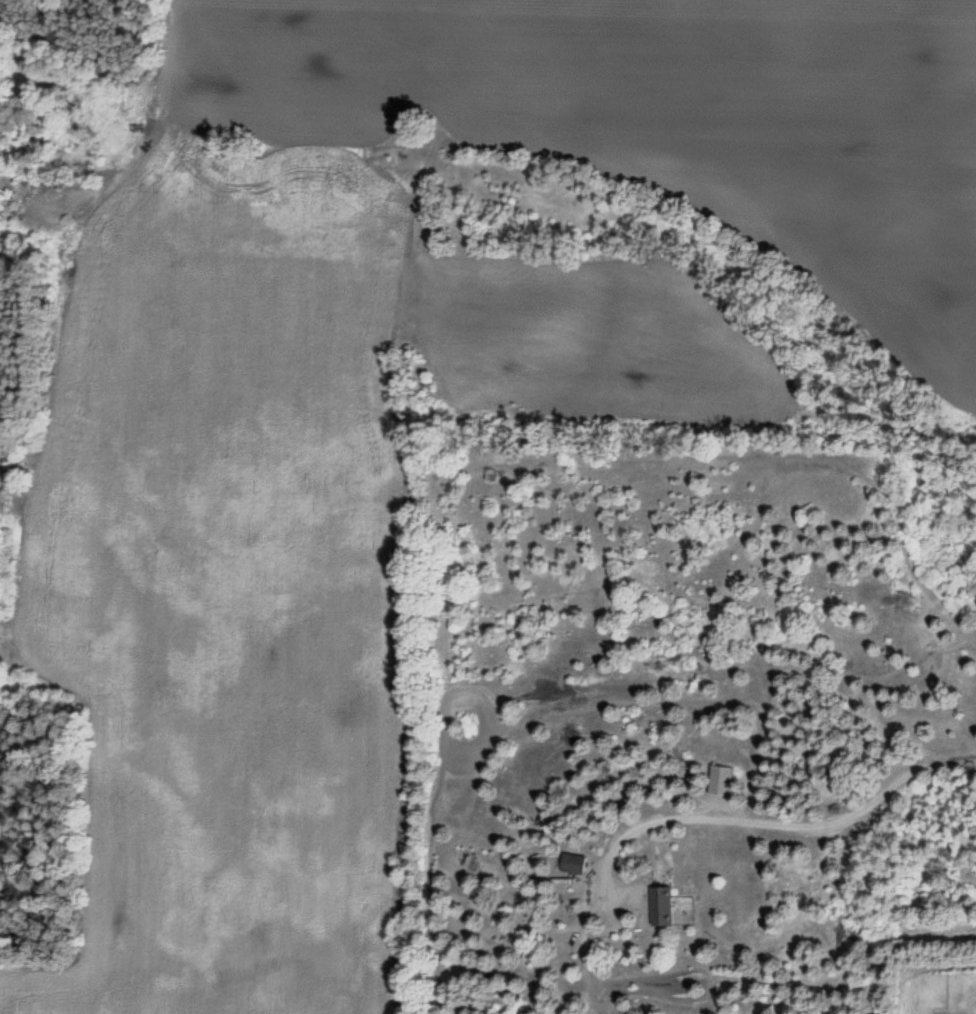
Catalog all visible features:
building: (6, 183)
building: (719, 782)
road: (769, 823)
building: (573, 865)
building: (661, 907)

